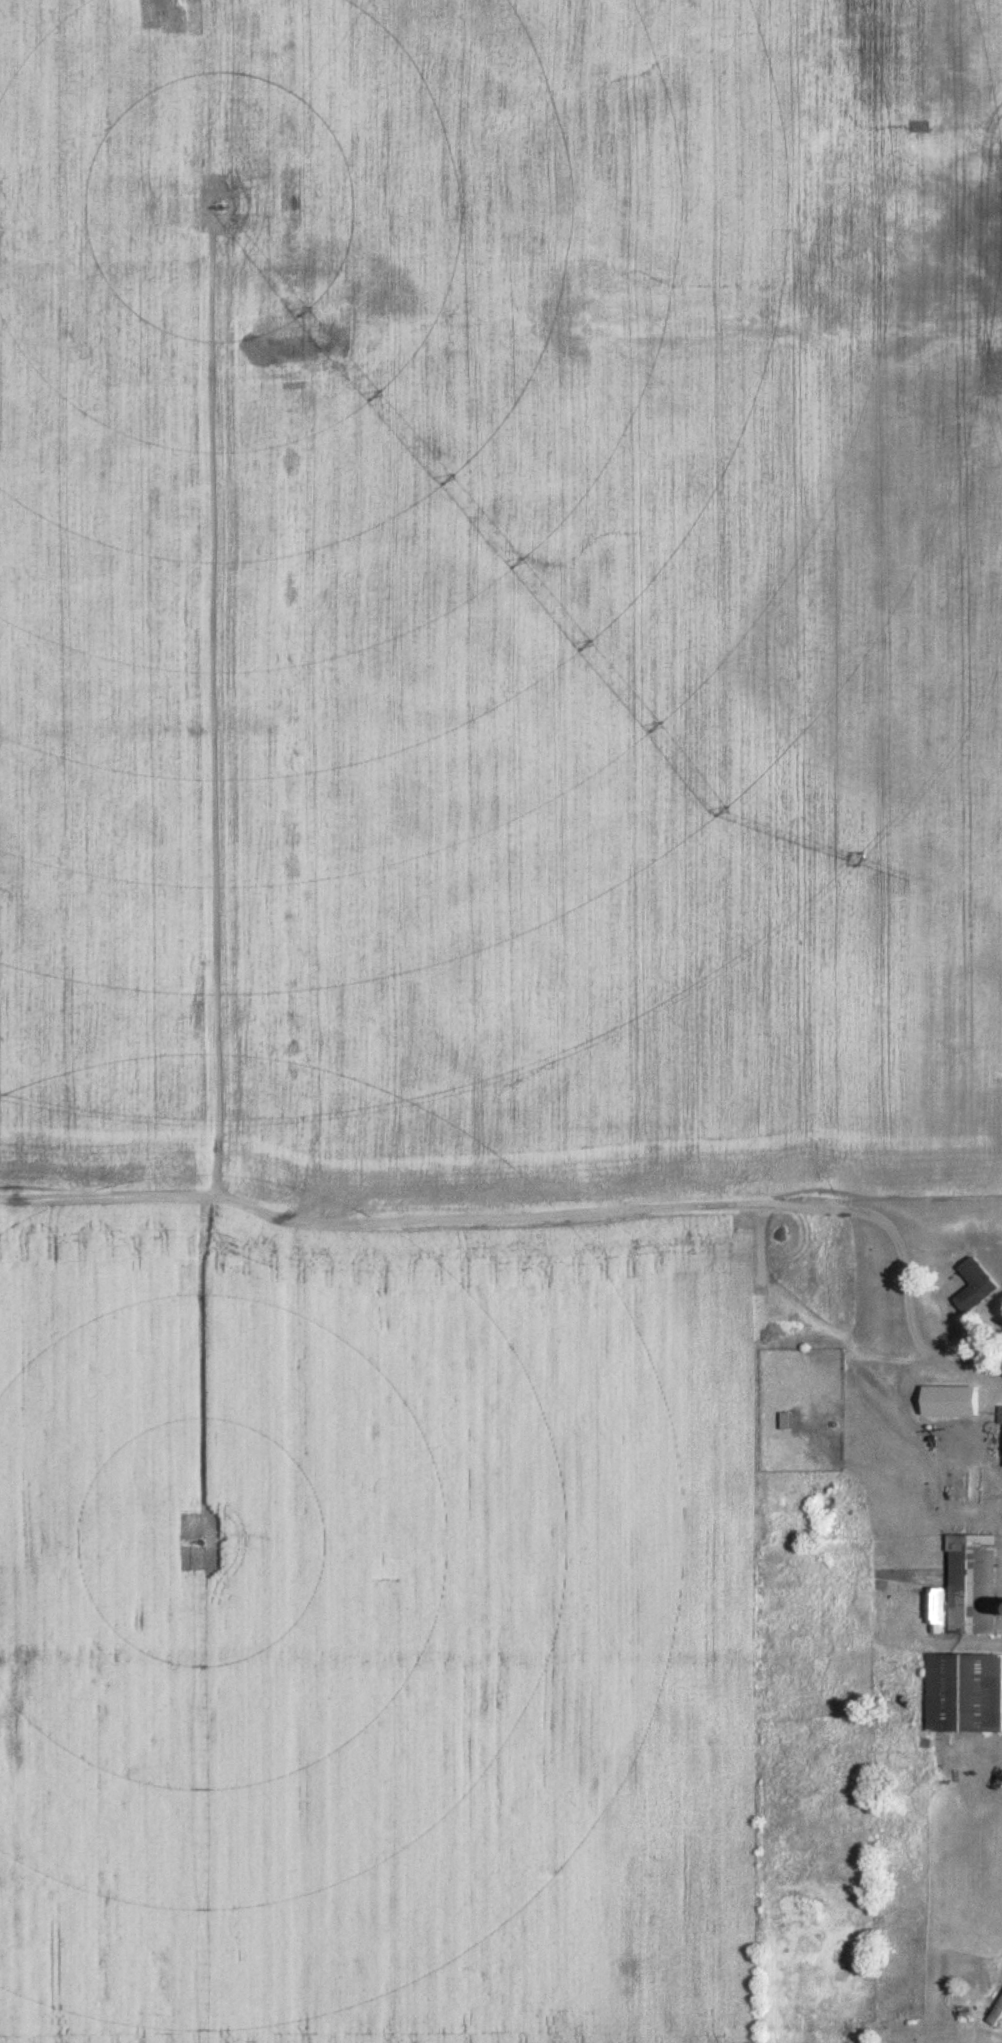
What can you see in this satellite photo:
building: (971, 1284)
building: (944, 1401)
building: (998, 1416)
building: (969, 1585)
building: (934, 1615)
building: (961, 1693)
building: (994, 2011)

